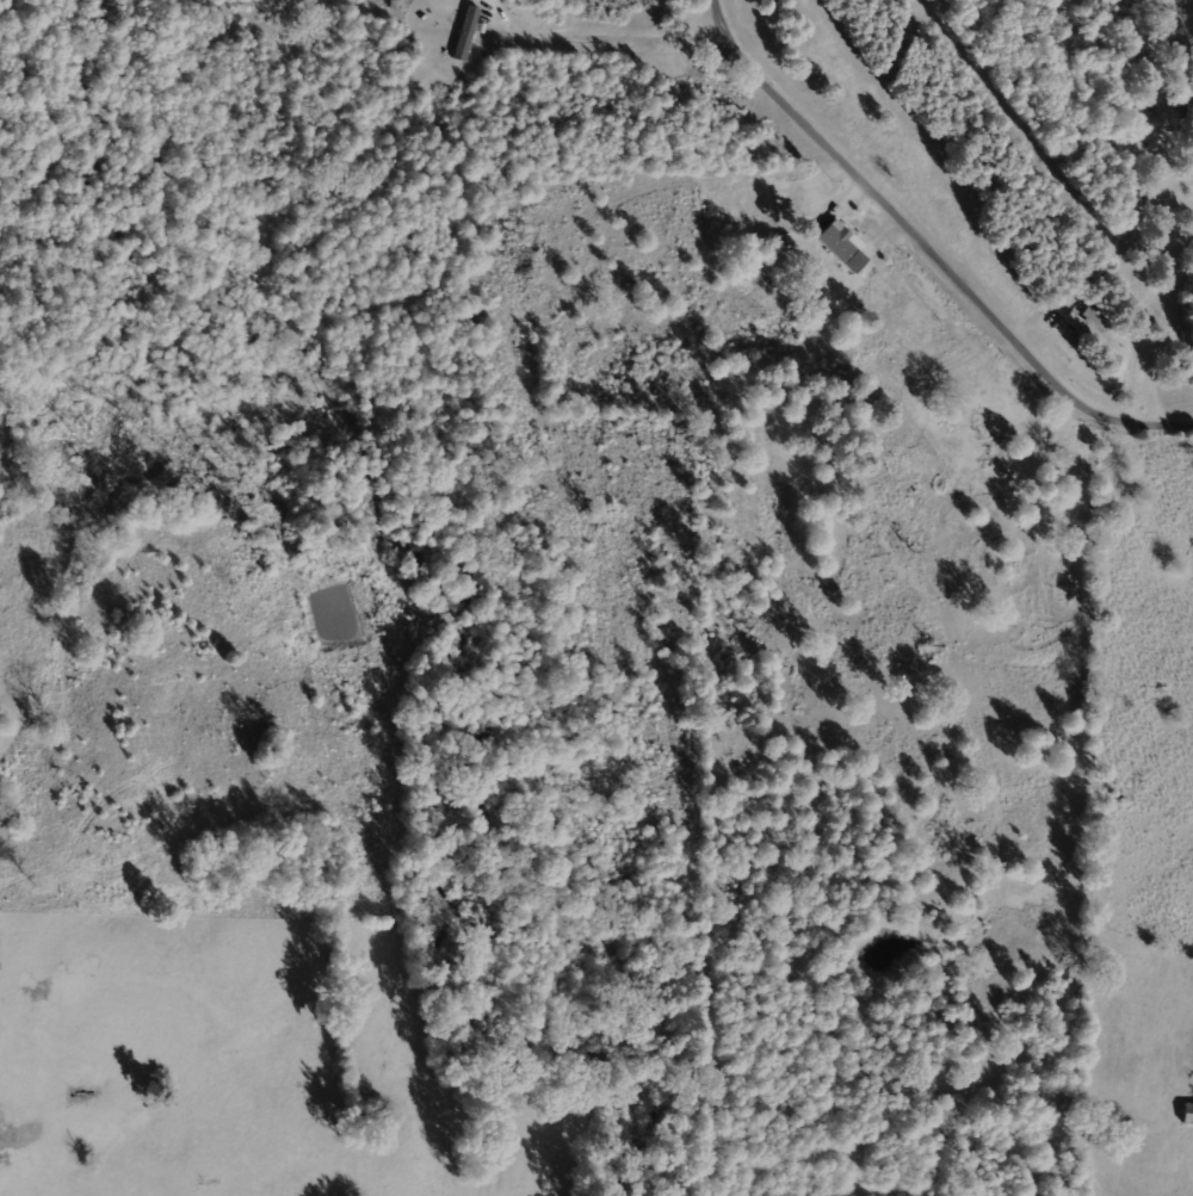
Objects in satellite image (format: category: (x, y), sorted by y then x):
building: (465, 32)
building: (841, 241)
road: (932, 249)
building: (1084, 328)
building: (1187, 1113)

